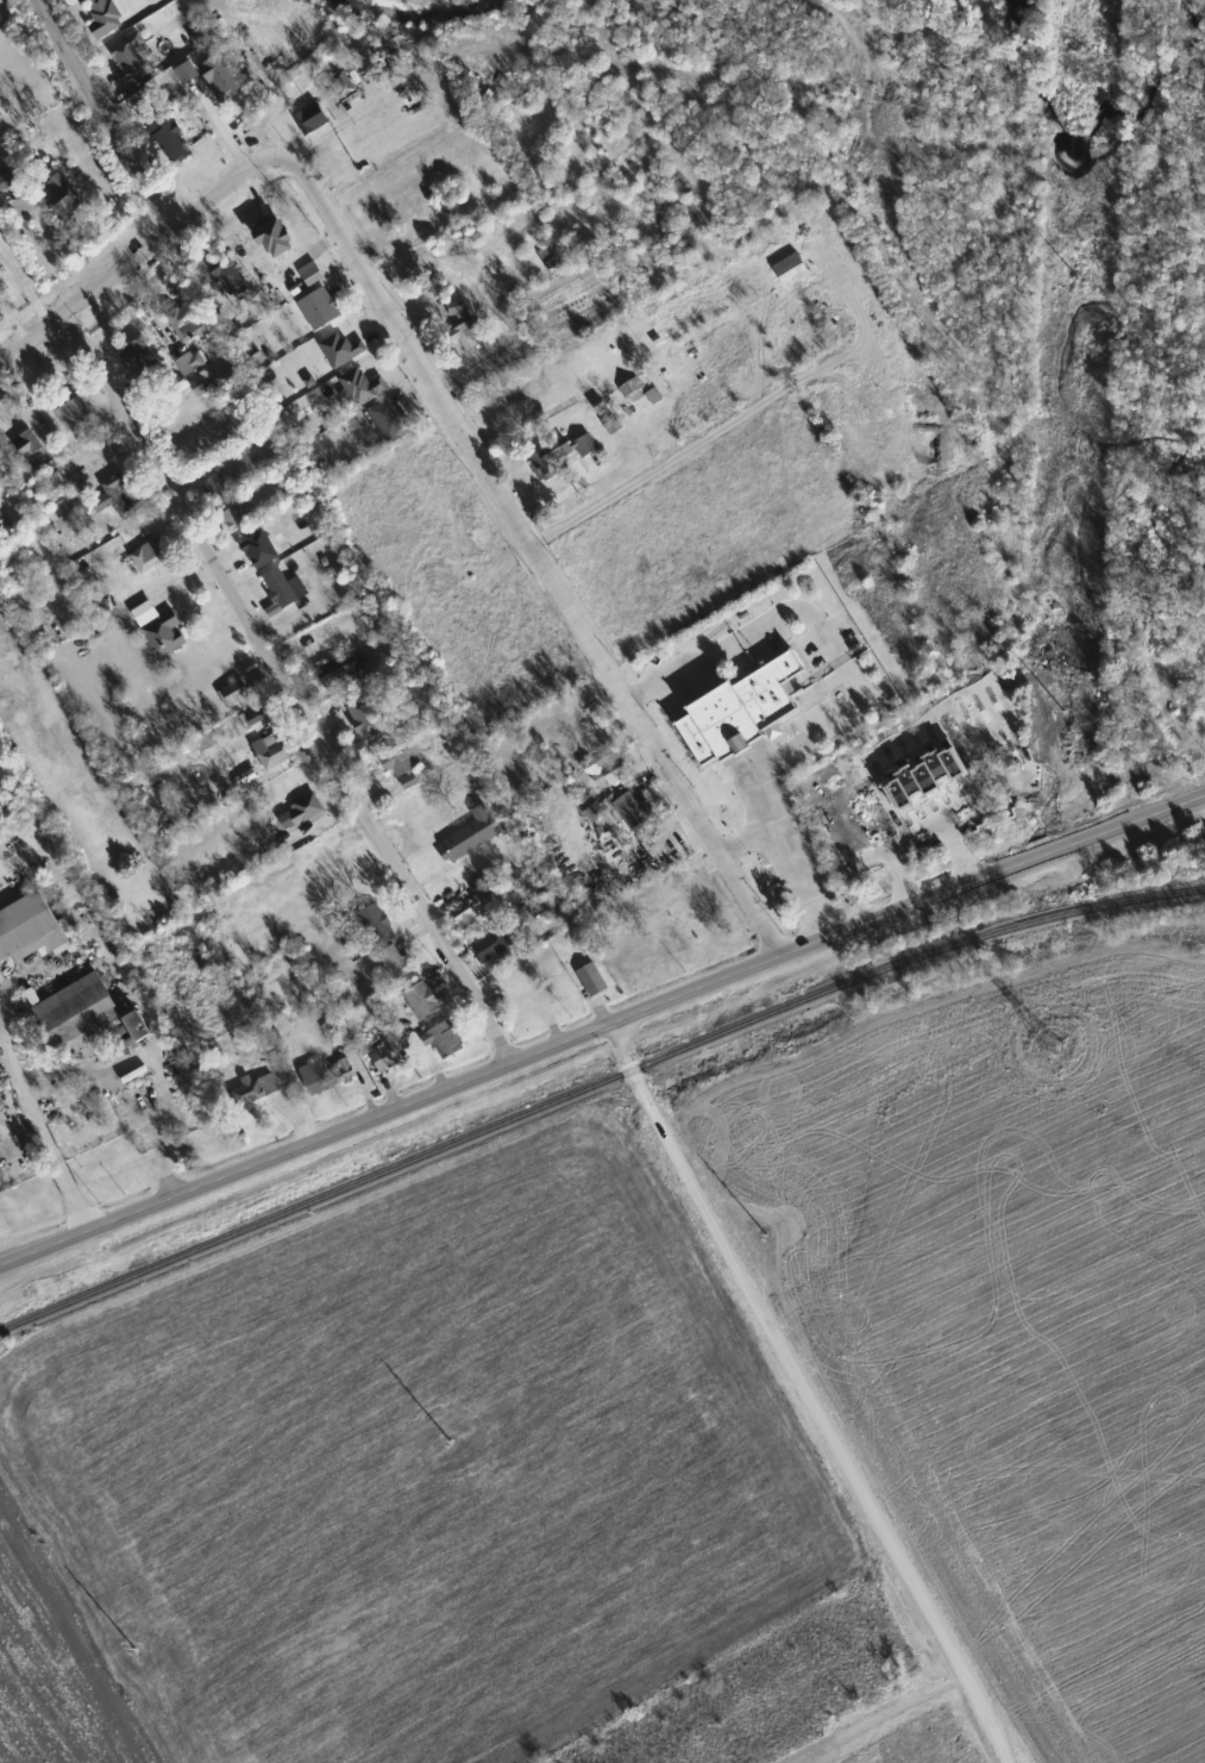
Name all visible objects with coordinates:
building: (101, 17)
building: (130, 55)
building: (222, 79)
road: (106, 113)
building: (321, 123)
building: (172, 139)
building: (8, 180)
building: (62, 192)
building: (277, 239)
building: (552, 260)
road: (131, 261)
building: (792, 270)
building: (231, 276)
power tower: (1079, 282)
road: (25, 285)
building: (434, 287)
road: (478, 293)
building: (2, 299)
building: (320, 308)
building: (188, 320)
building: (464, 333)
building: (140, 360)
building: (193, 363)
building: (201, 386)
building: (363, 386)
building: (632, 389)
building: (655, 394)
building: (75, 413)
building: (240, 415)
building: (390, 420)
building: (585, 445)
building: (27, 446)
building: (546, 465)
building: (121, 495)
building: (236, 518)
road: (532, 542)
building: (152, 555)
building: (281, 588)
road: (798, 608)
building: (165, 634)
building: (339, 670)
road: (683, 673)
road: (287, 687)
building: (234, 693)
building: (743, 711)
power tower: (1065, 714)
building: (256, 717)
building: (365, 718)
road: (796, 743)
building: (1192, 750)
building: (274, 752)
building: (598, 755)
building: (404, 759)
building: (628, 807)
building: (301, 812)
building: (472, 836)
road: (790, 851)
building: (472, 913)
building: (377, 923)
building: (31, 930)
building: (494, 946)
building: (396, 962)
building: (423, 1000)
building: (90, 1017)
road: (600, 1023)
building: (445, 1040)
power tower: (1055, 1050)
building: (387, 1058)
building: (345, 1071)
building: (187, 1075)
building: (316, 1079)
railway: (596, 1087)
building: (257, 1089)
road: (44, 1144)
power tower: (765, 1237)
road: (805, 1392)
power tower: (452, 1443)
power tower: (136, 1650)

